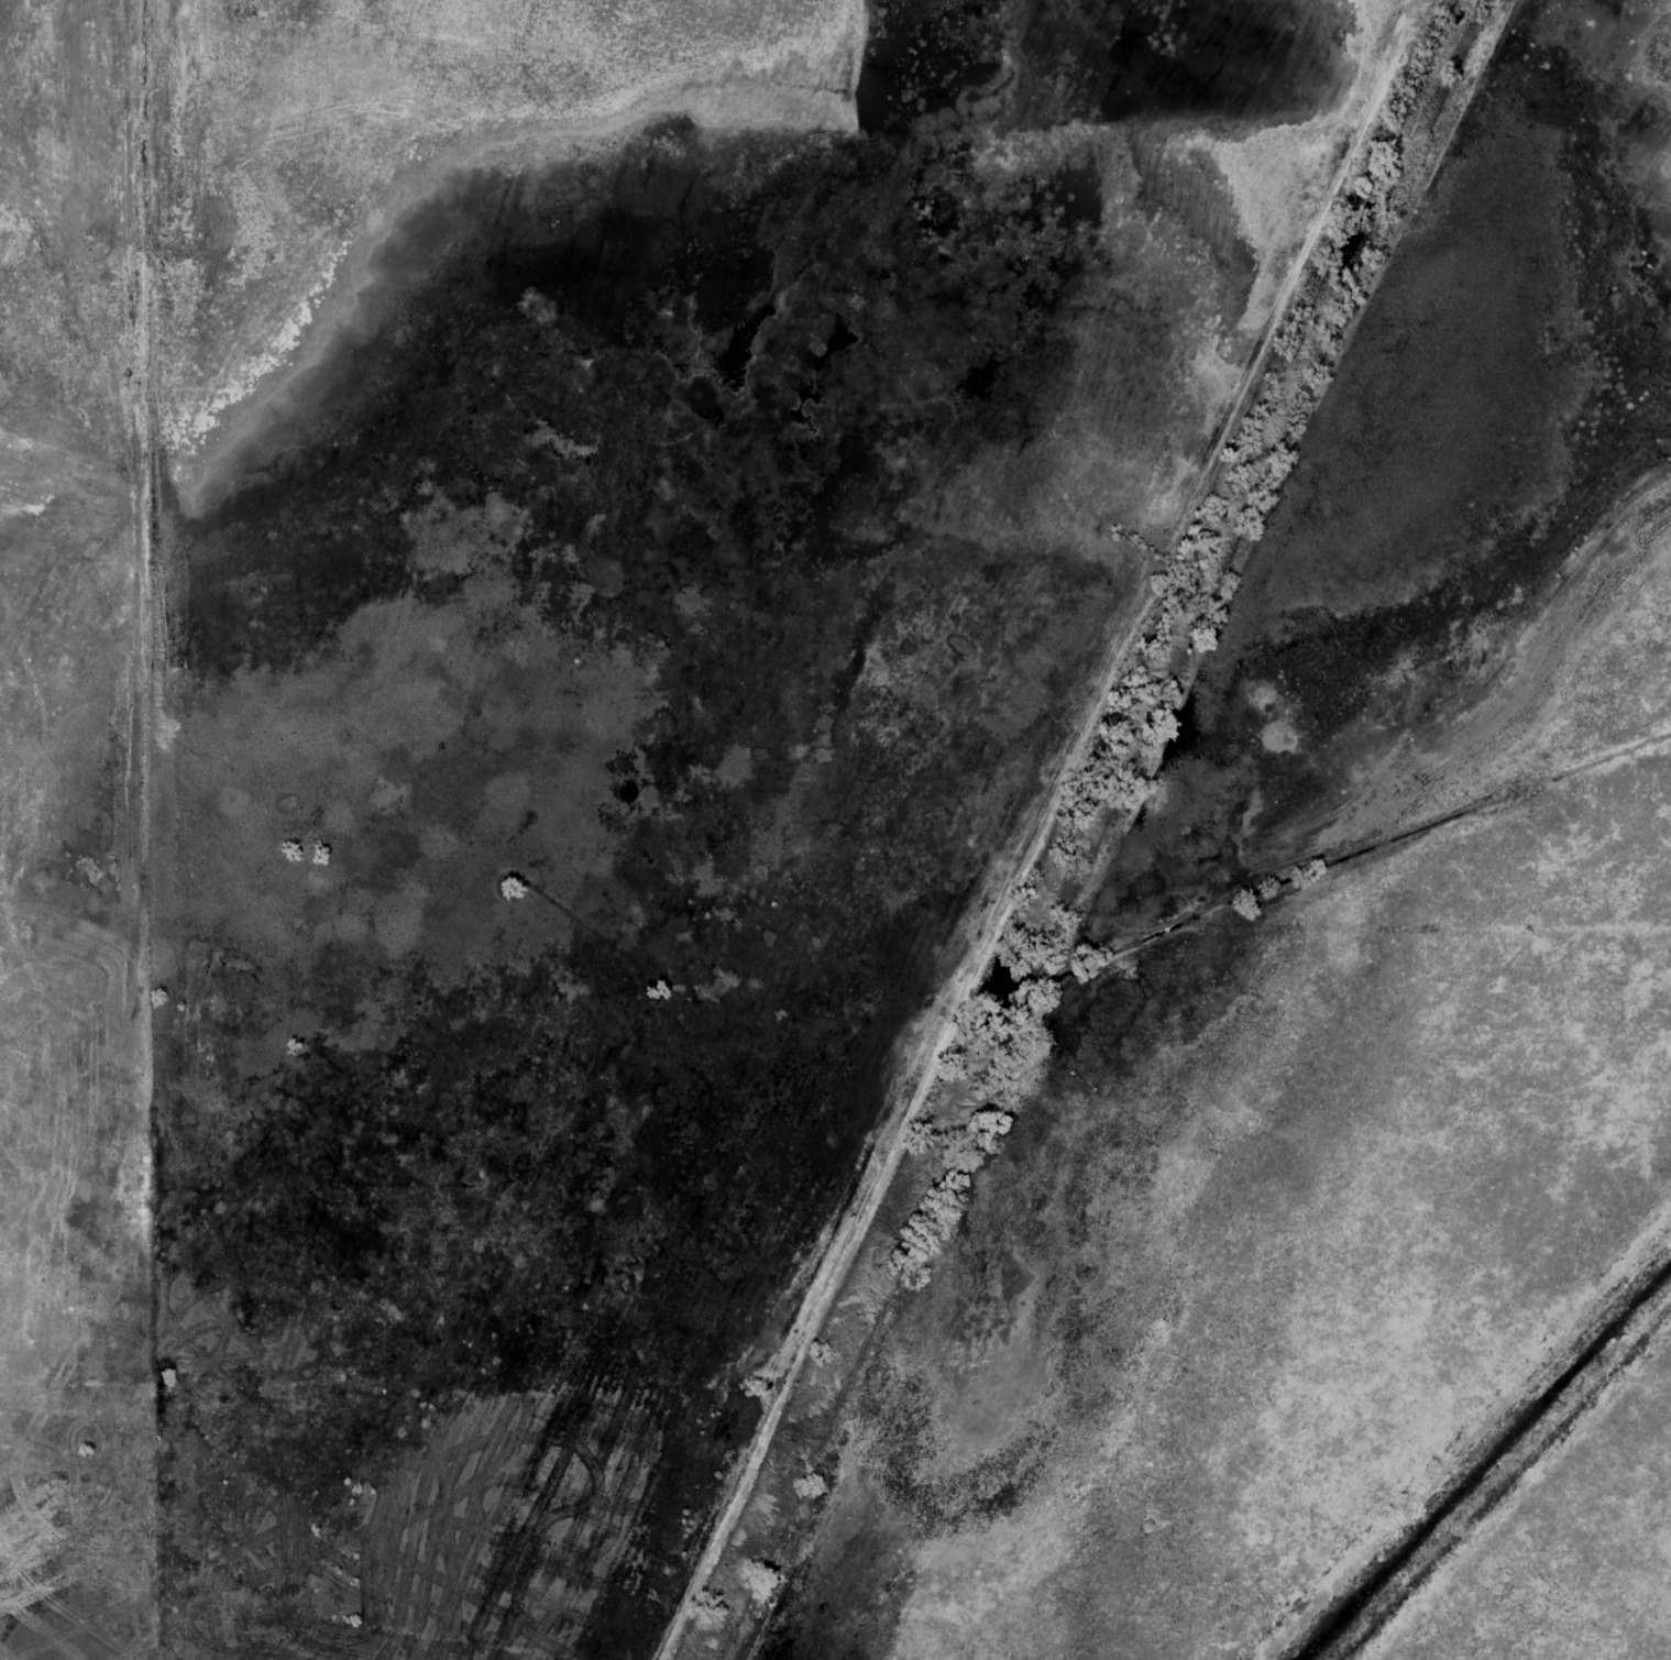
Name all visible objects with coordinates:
river: (1485, 1463)

